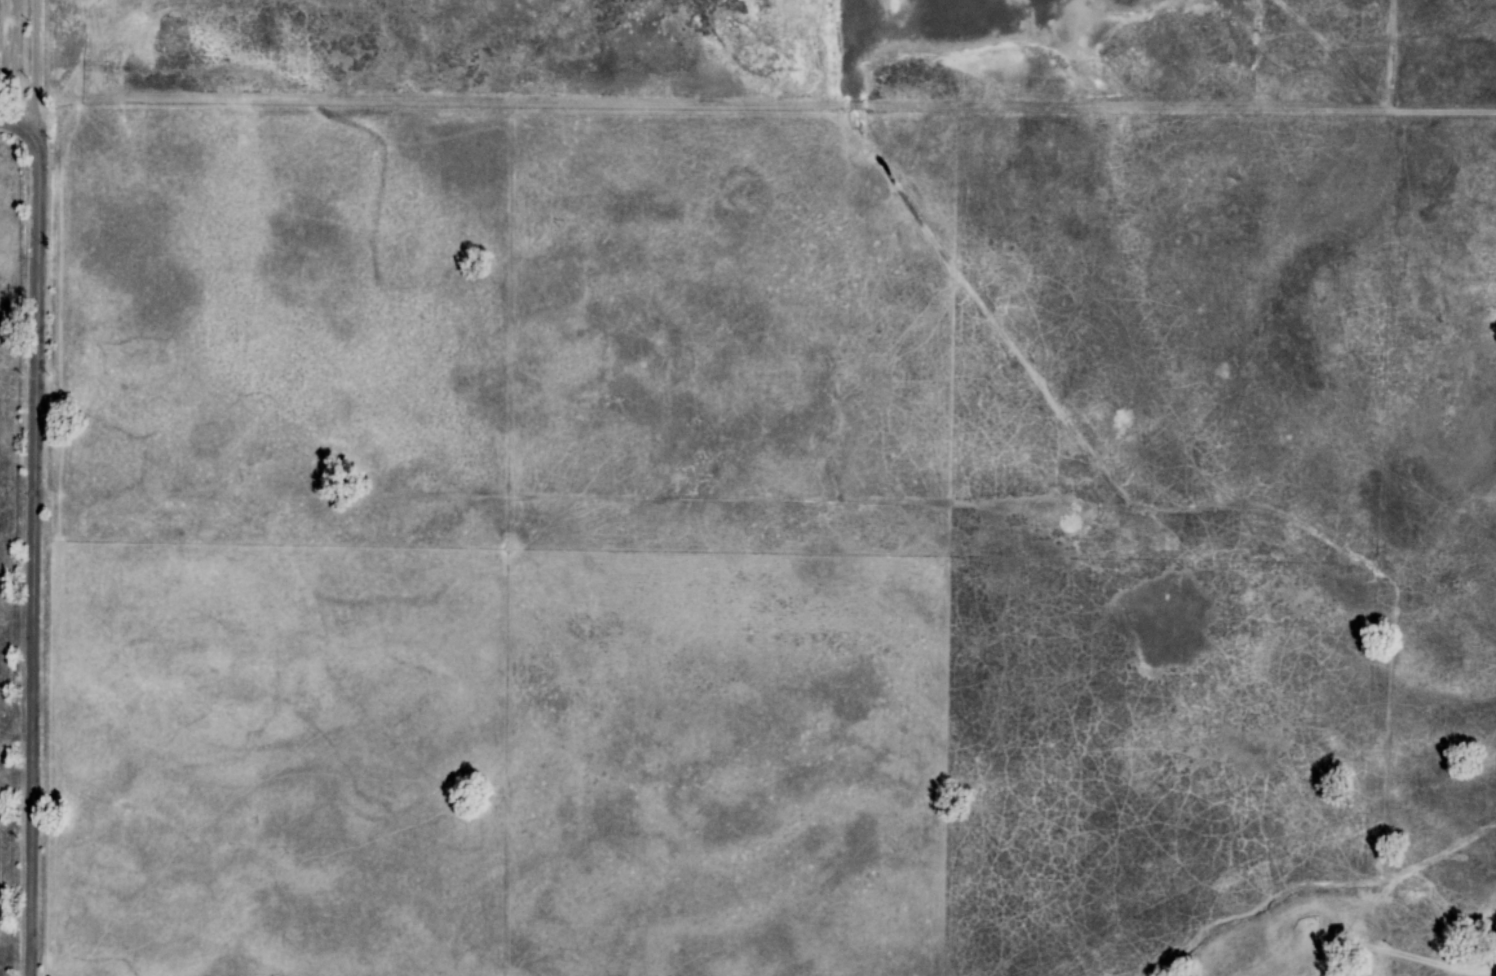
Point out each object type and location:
road: (23, 66)
road: (37, 74)
road: (613, 141)
road: (38, 538)

